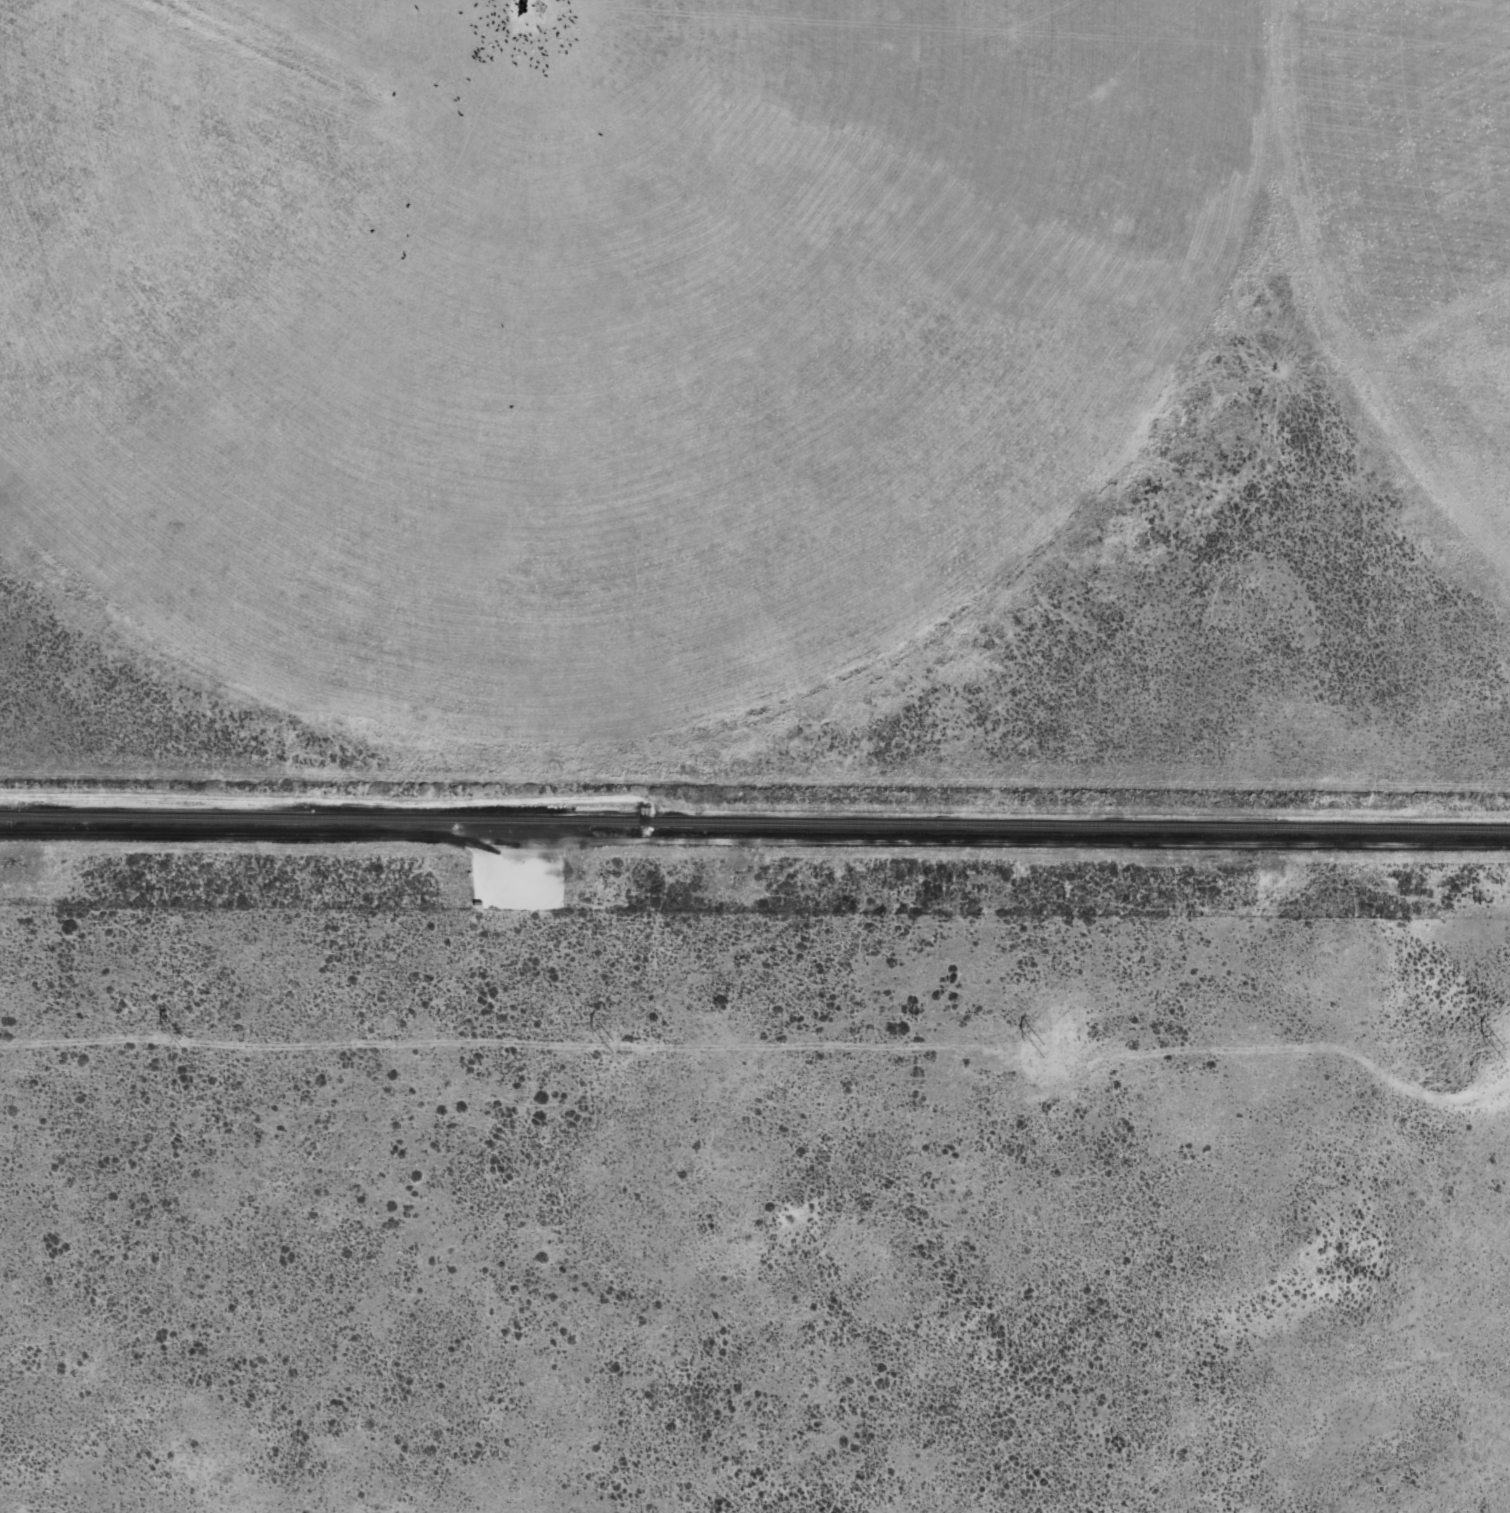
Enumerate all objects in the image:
railway: (755, 822)
power tower: (180, 1041)
power tower: (611, 1046)
power tower: (1504, 1048)
power tower: (1042, 1051)

